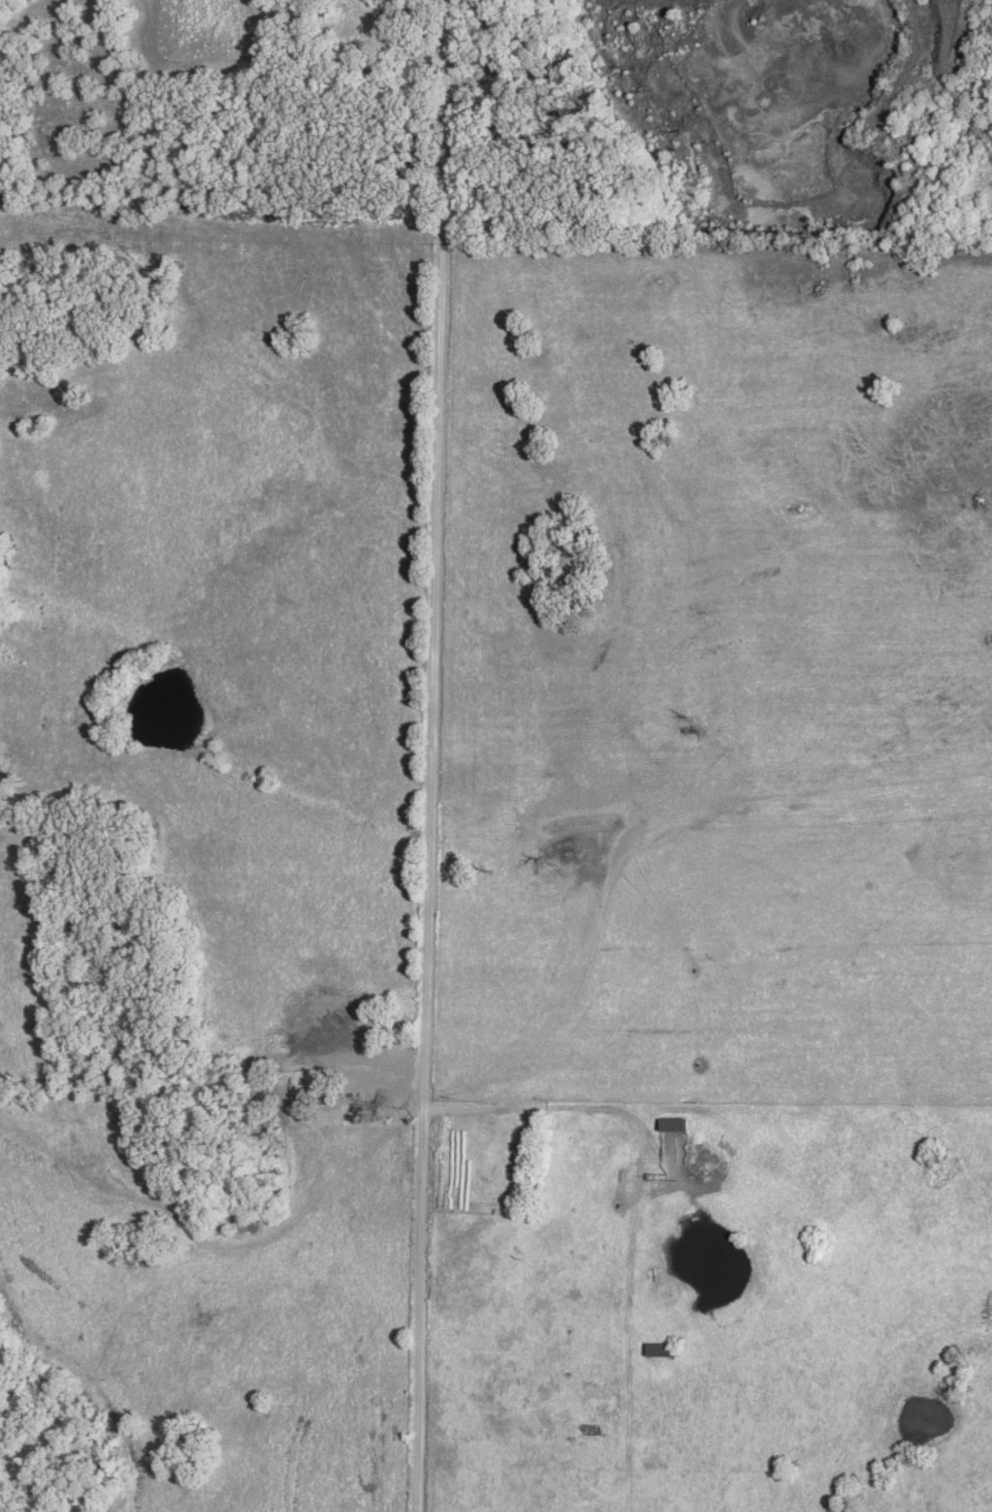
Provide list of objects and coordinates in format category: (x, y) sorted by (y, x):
road: (432, 756)
building: (387, 1078)
road: (708, 1099)
building: (673, 1124)
road: (628, 1172)
building: (660, 1350)

